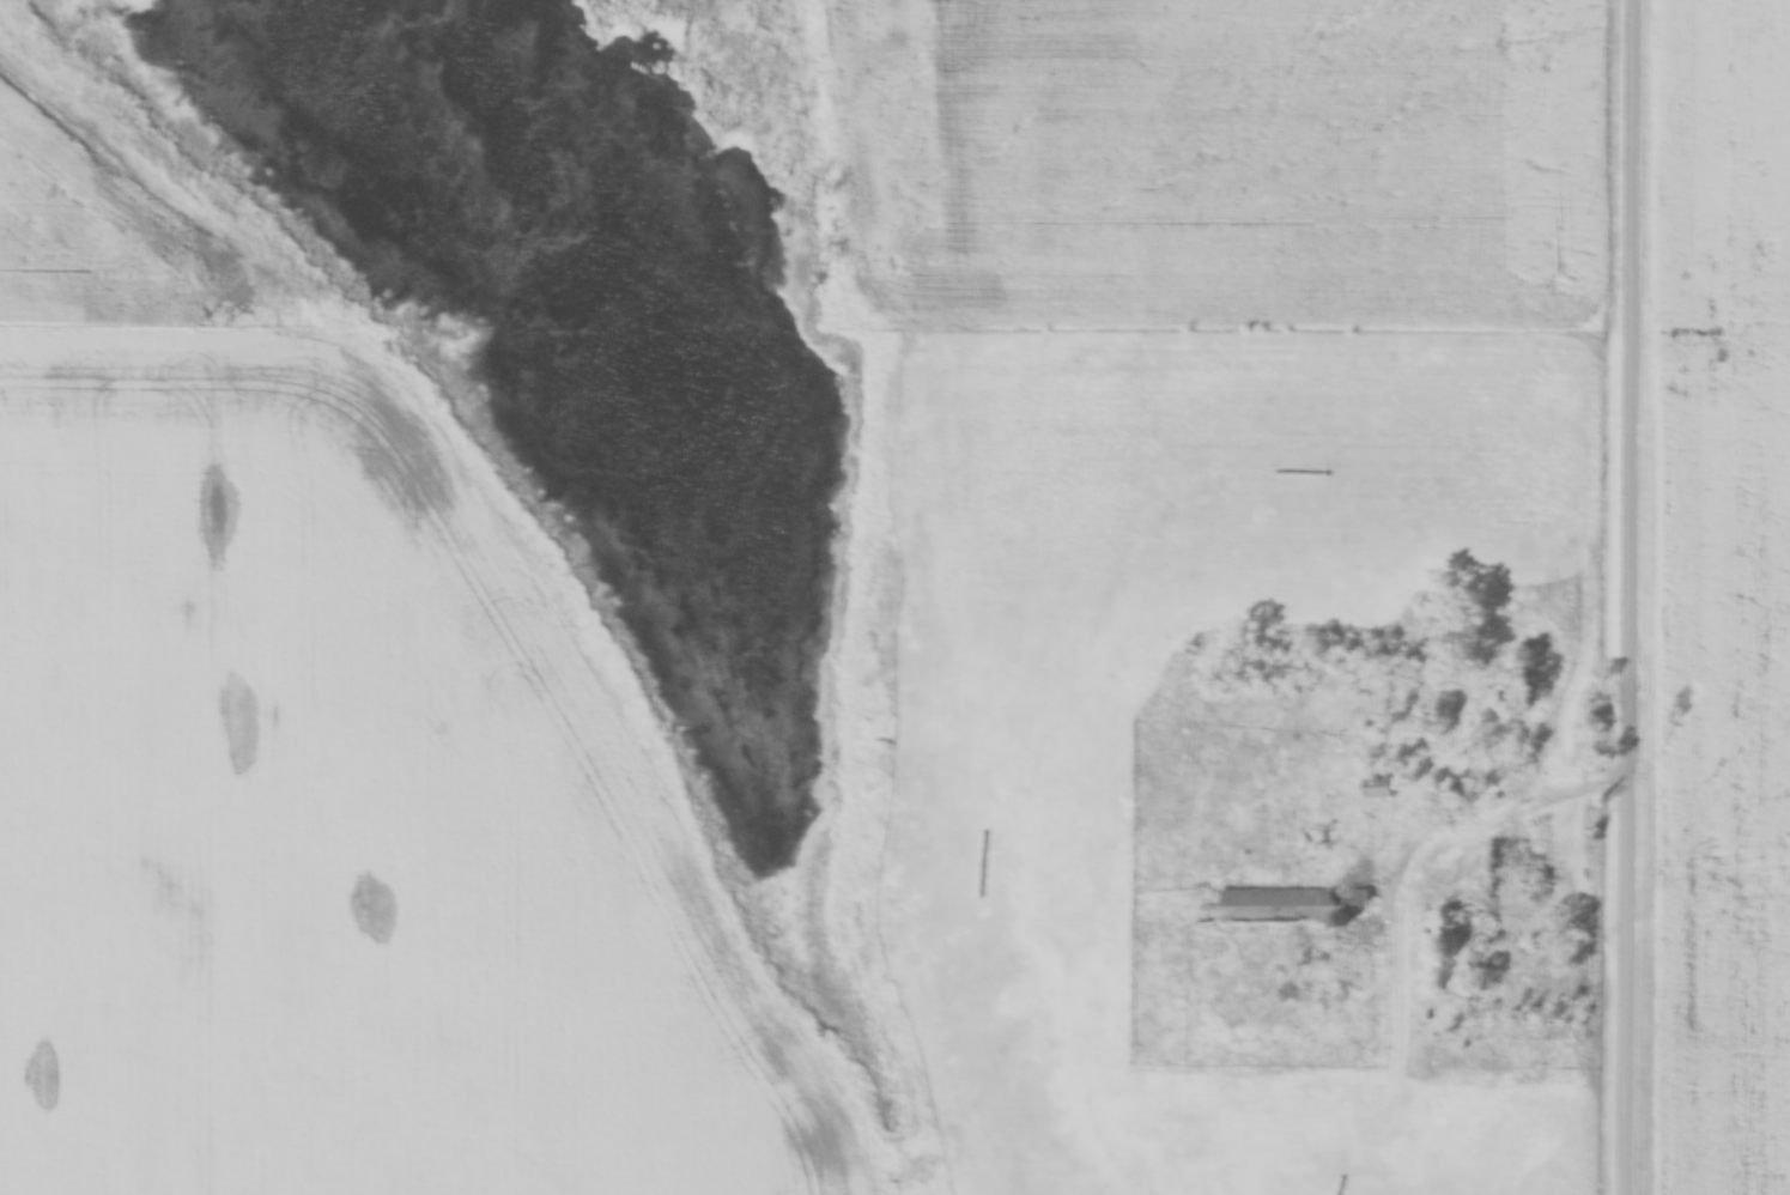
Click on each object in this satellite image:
road: (1713, 313)
road: (1636, 597)
building: (1545, 667)
building: (1379, 789)
building: (1525, 875)
building: (1292, 906)
building: (1486, 921)
building: (1455, 954)

